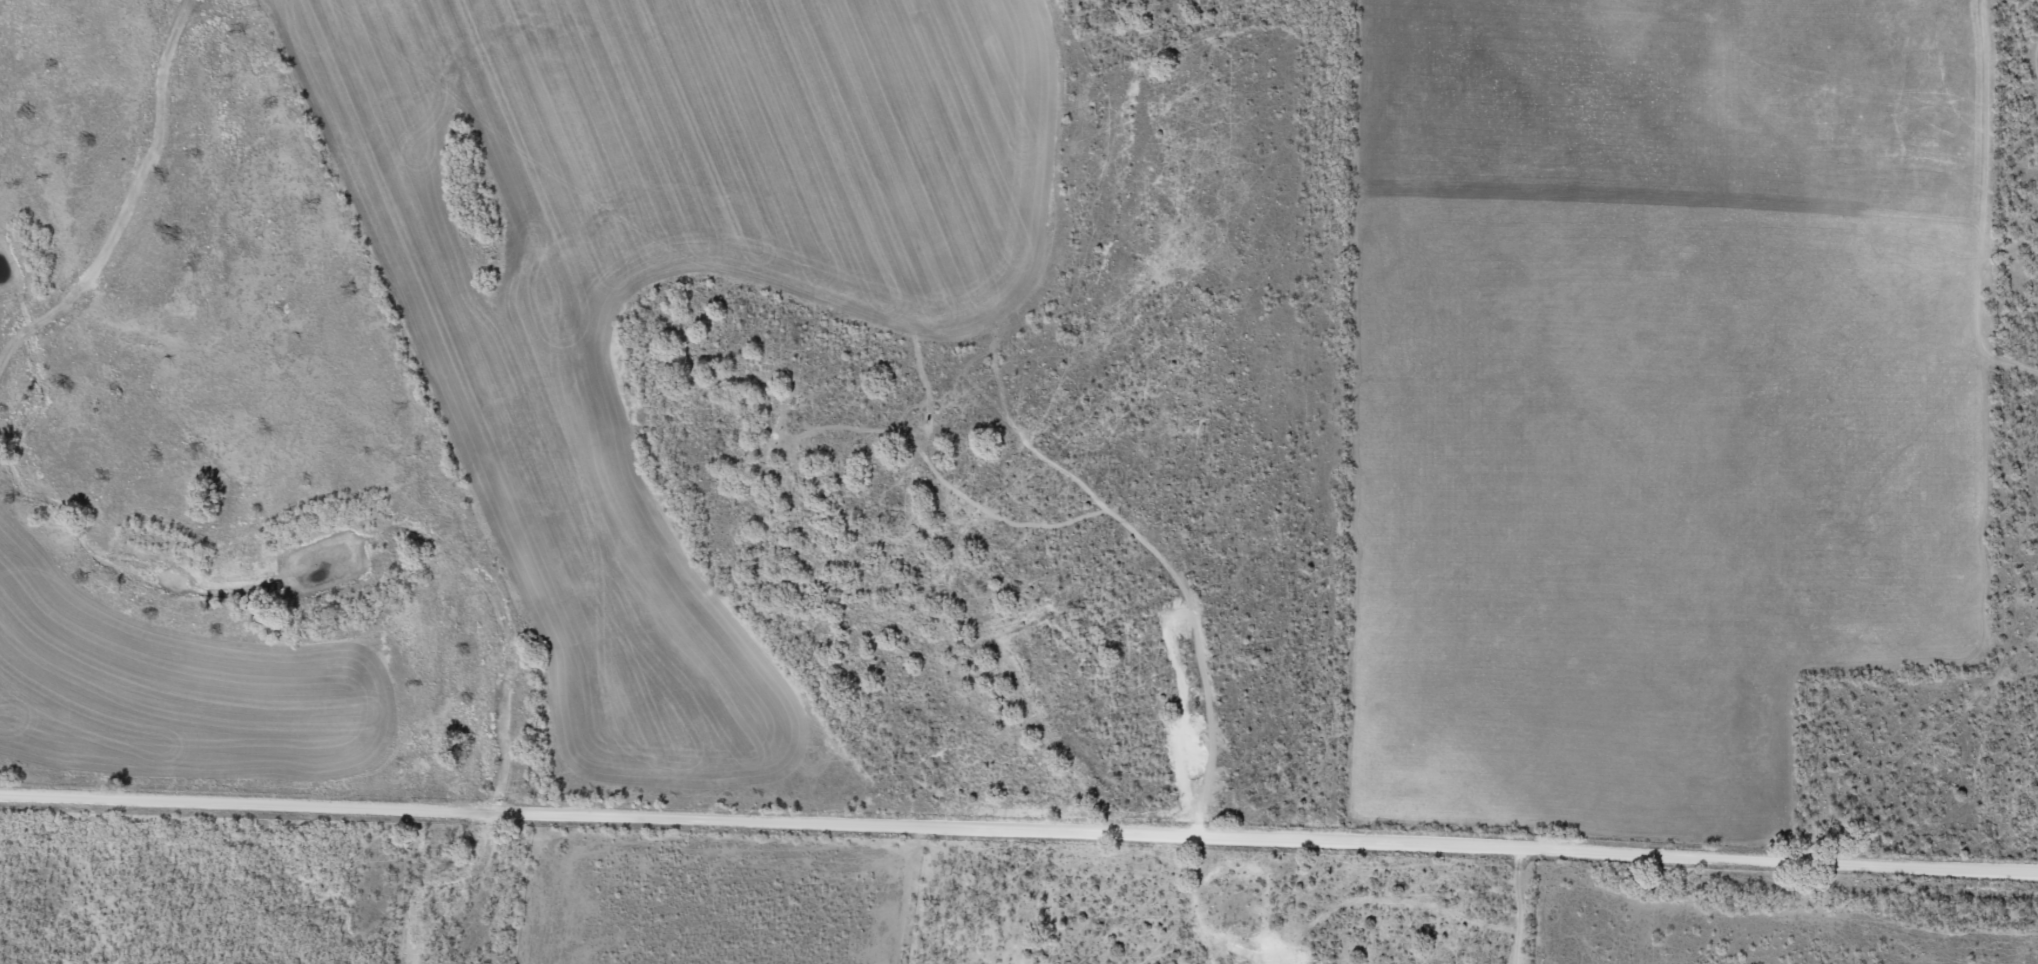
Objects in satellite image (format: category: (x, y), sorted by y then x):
road: (1019, 833)
road: (1520, 909)

